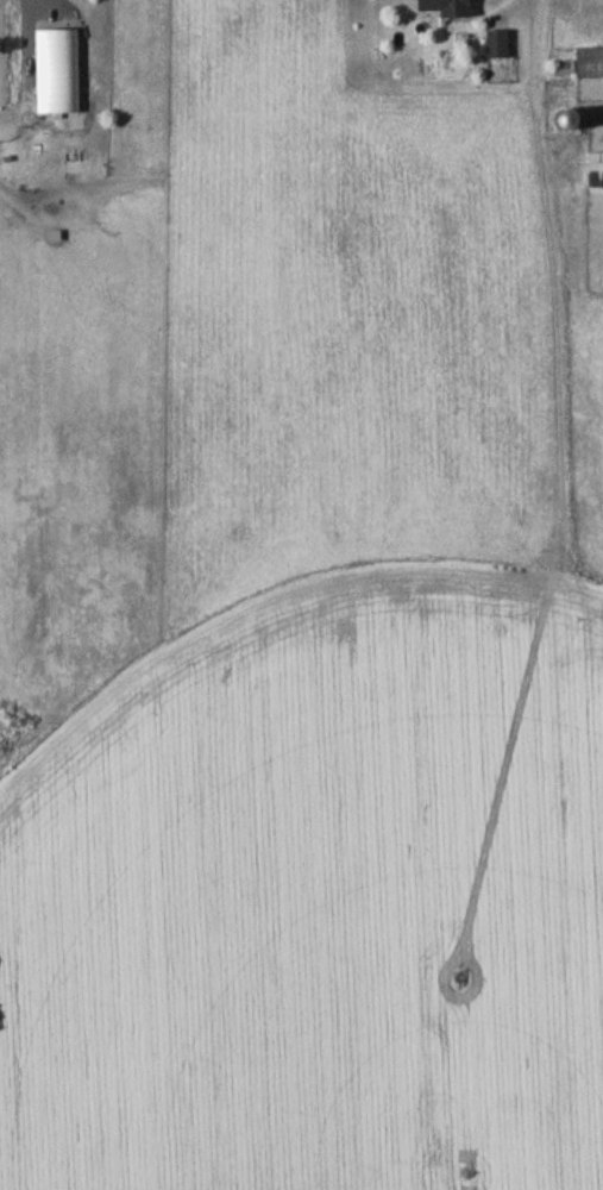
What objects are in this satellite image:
building: (452, 10)
building: (501, 48)
building: (590, 68)
building: (59, 76)
building: (596, 175)

